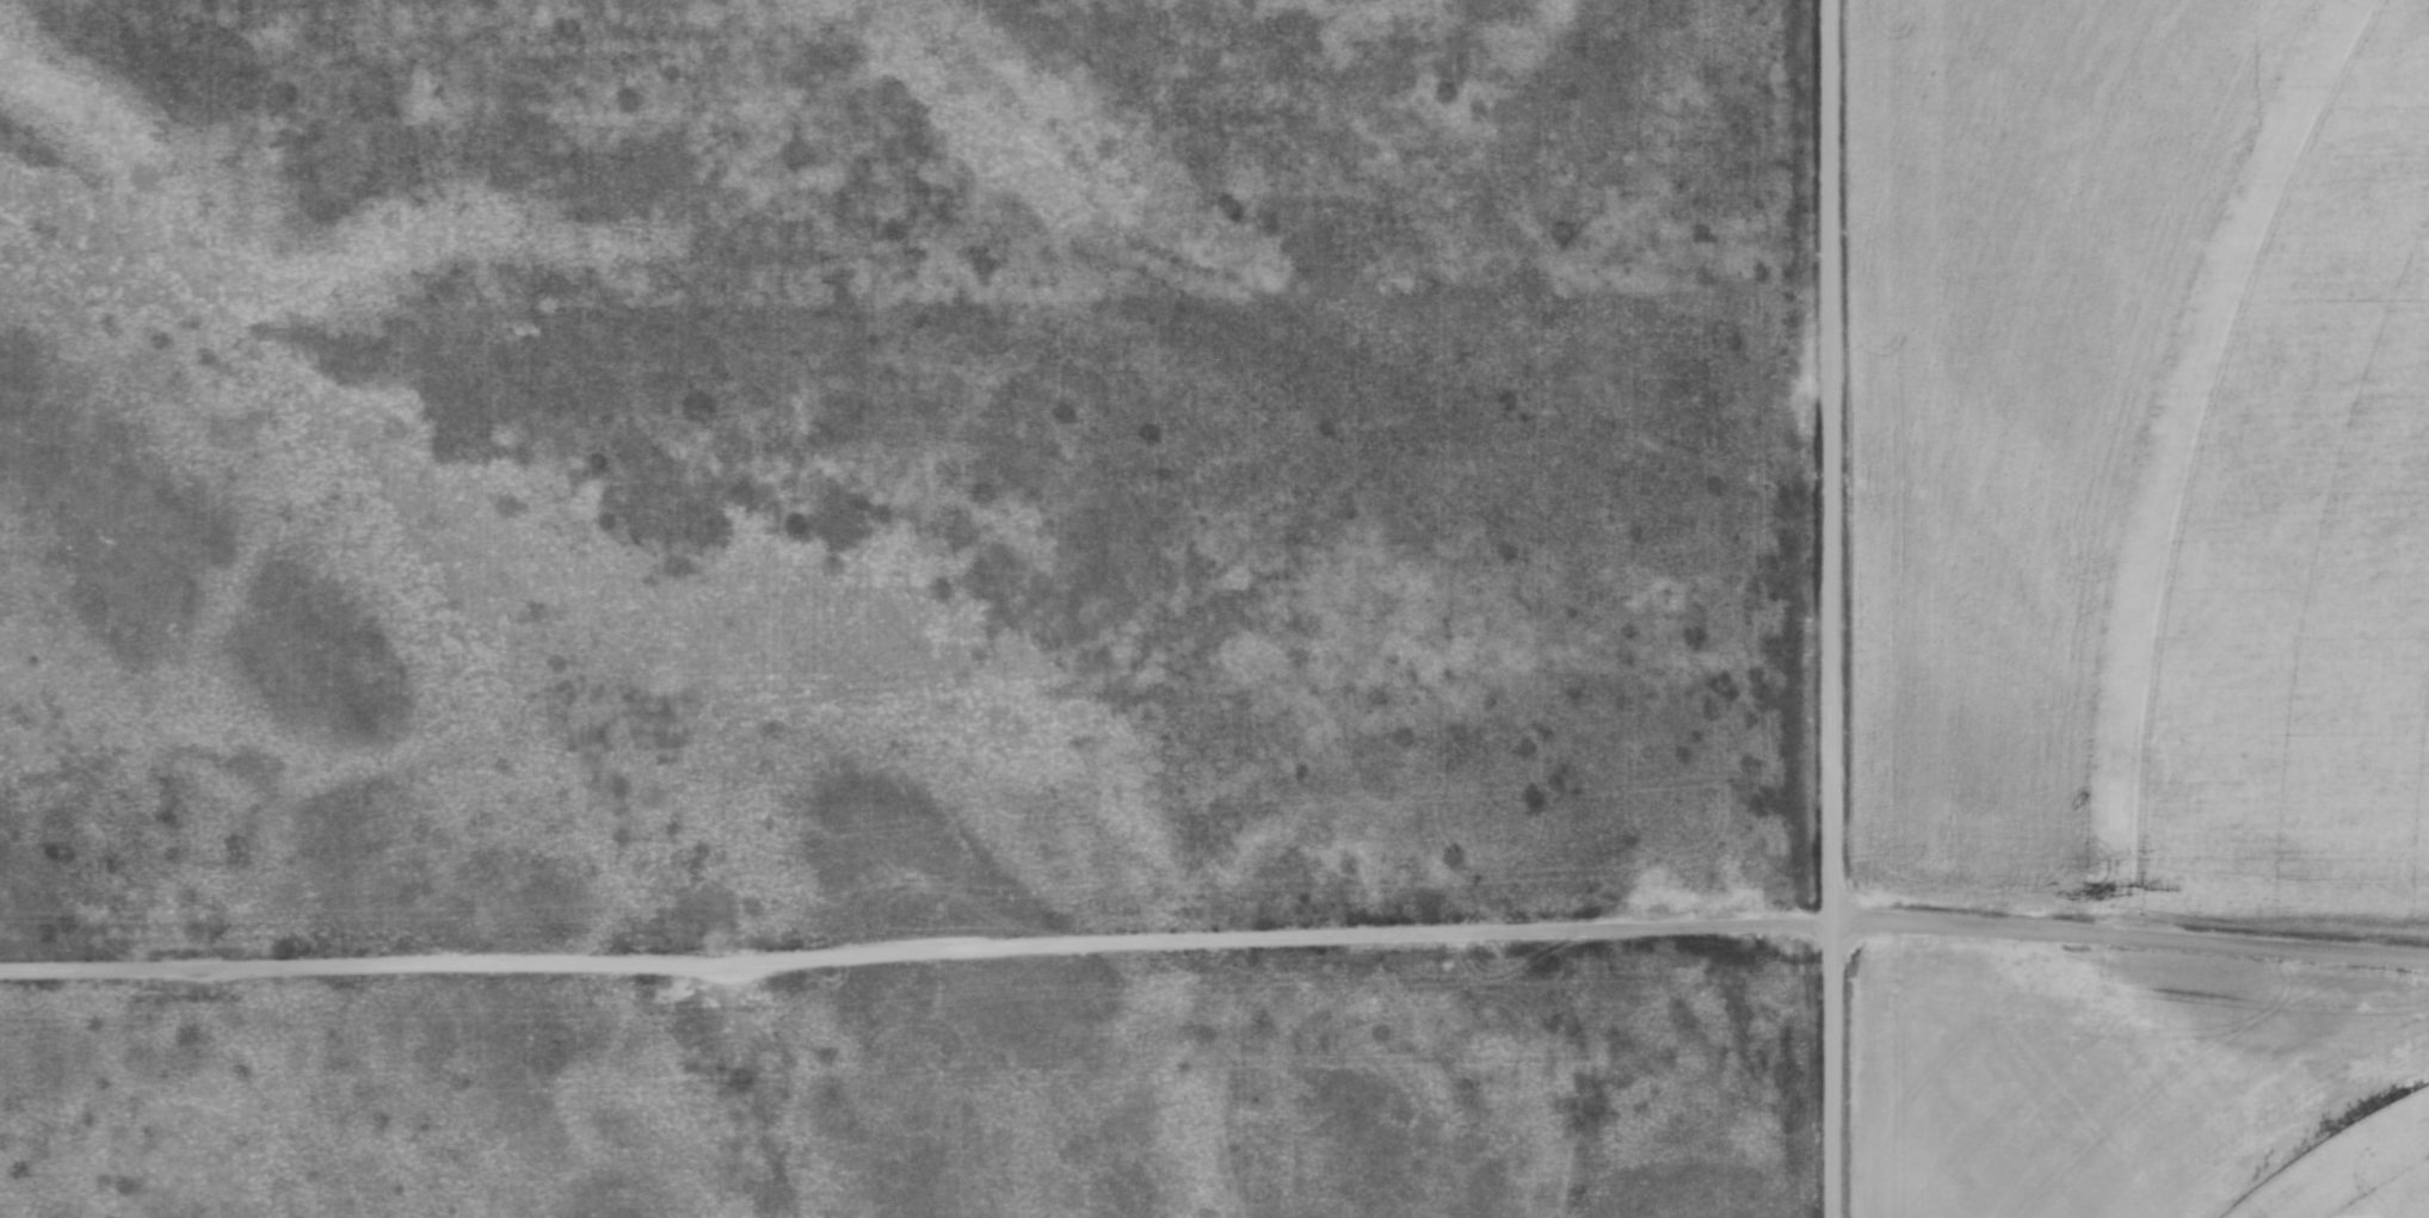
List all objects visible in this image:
road: (1832, 608)
road: (1215, 946)

